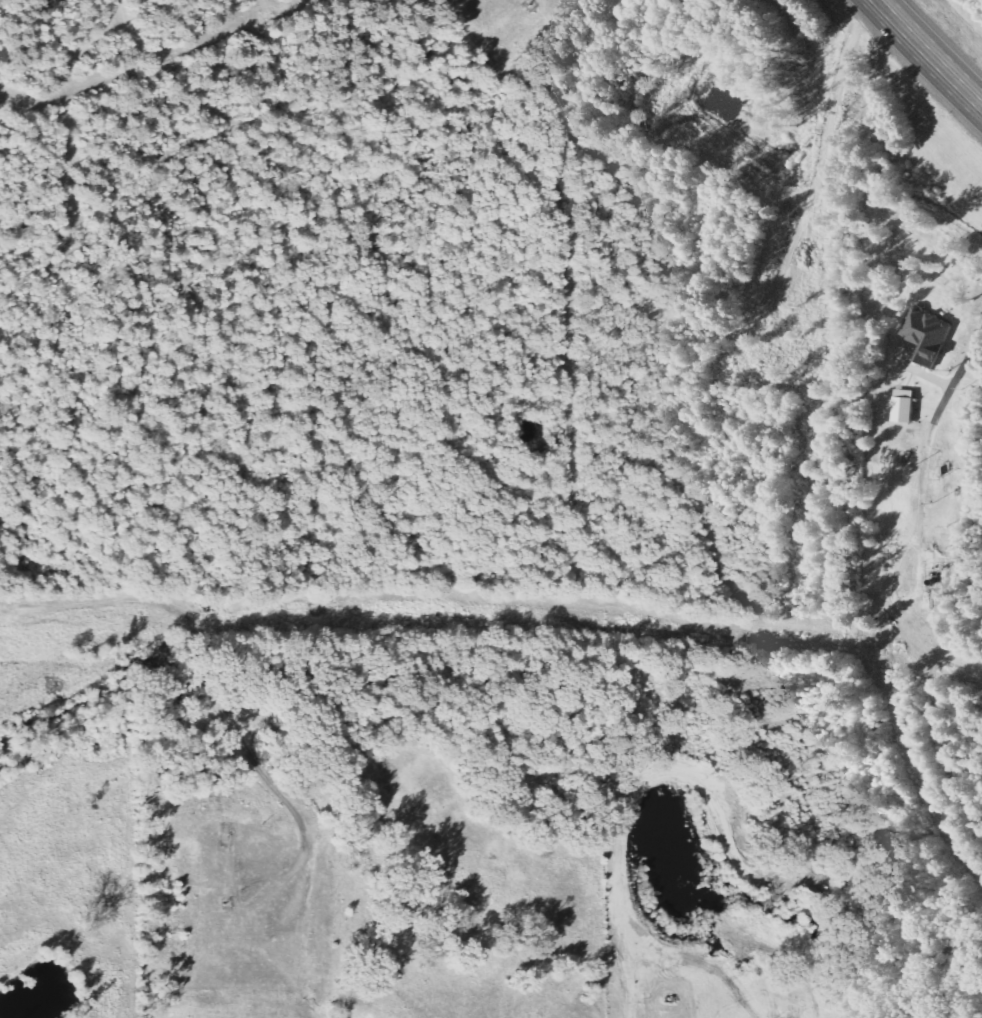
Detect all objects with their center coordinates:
road: (928, 53)
building: (932, 335)
road: (966, 358)
building: (909, 406)

